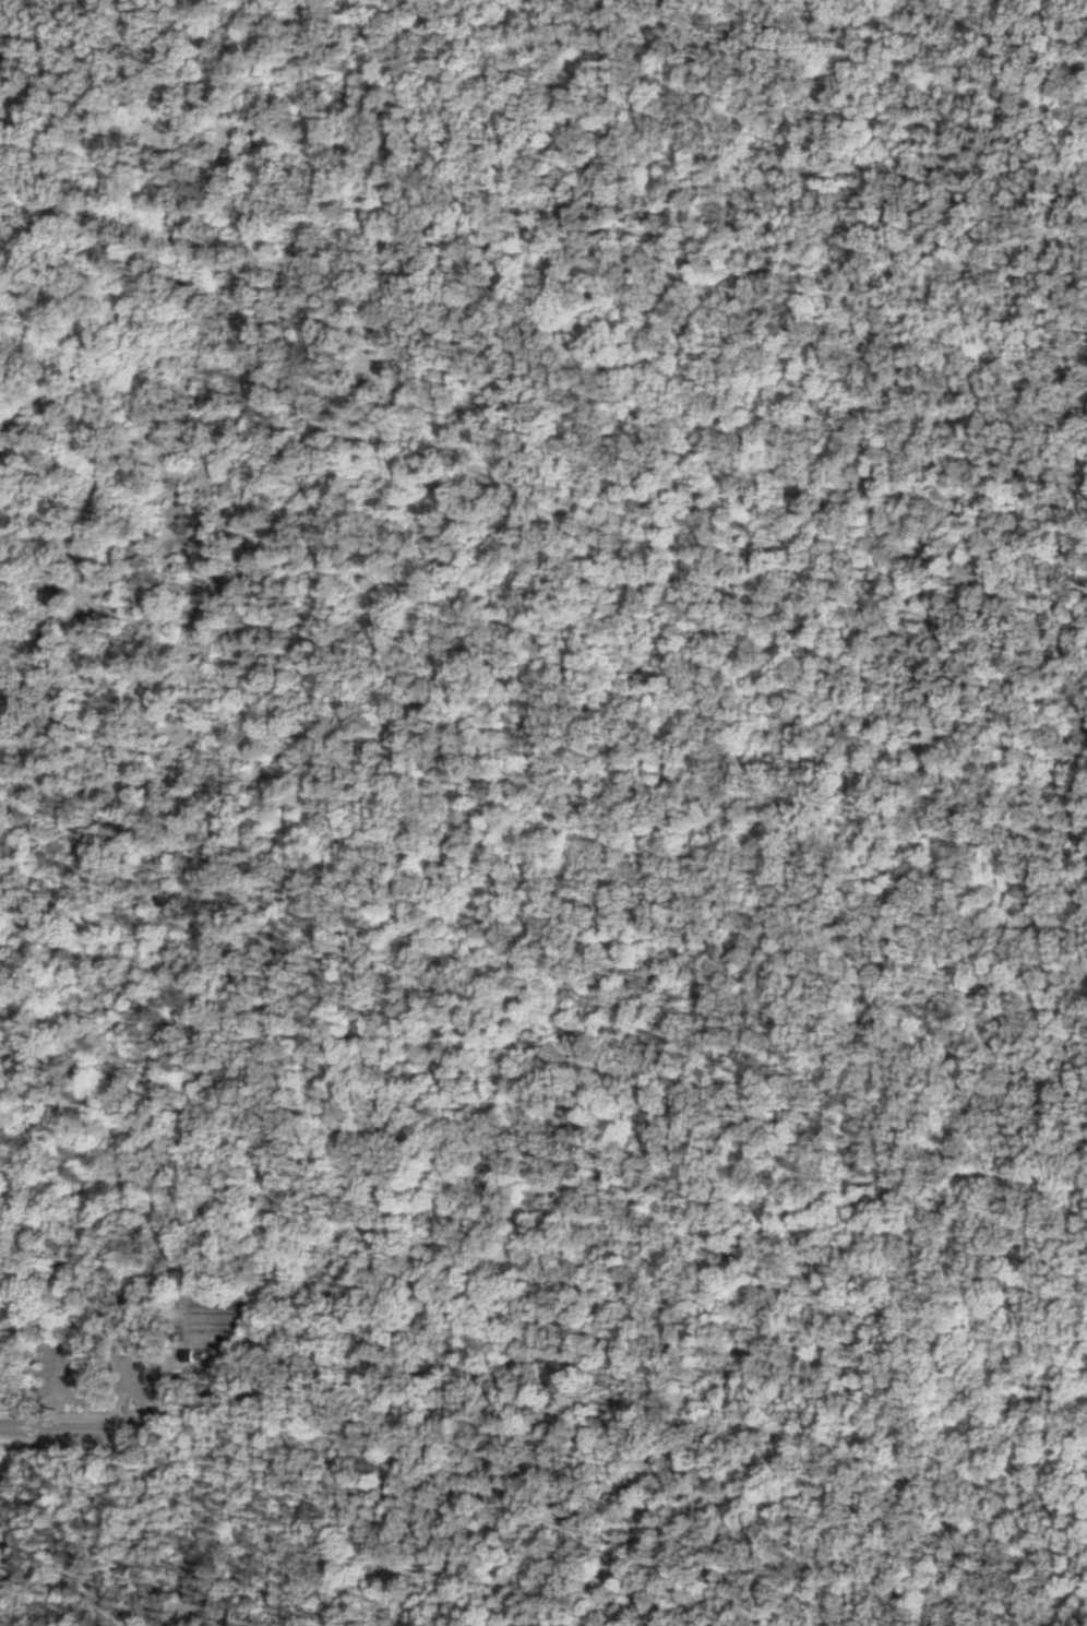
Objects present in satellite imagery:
building: (160, 1375)
road: (599, 1389)
road: (59, 1419)

